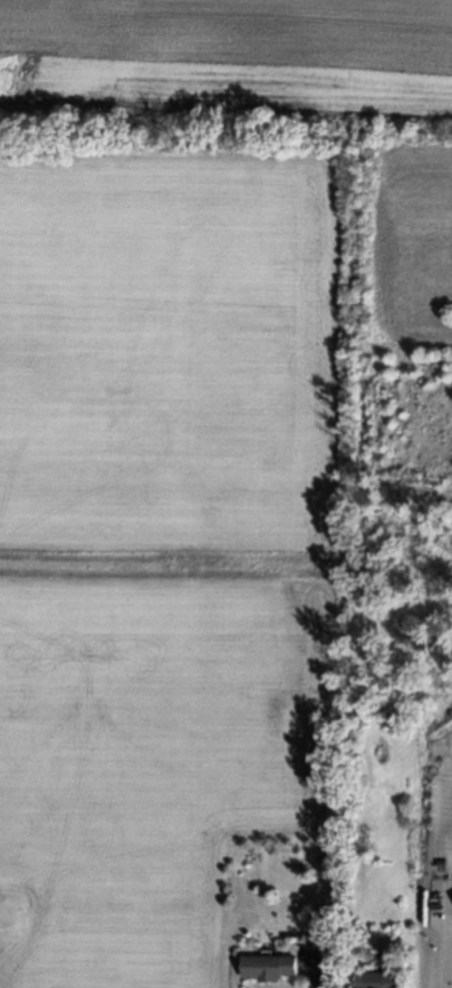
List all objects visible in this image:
crop: (186, 429)
road: (445, 946)
building: (267, 968)
building: (375, 980)

